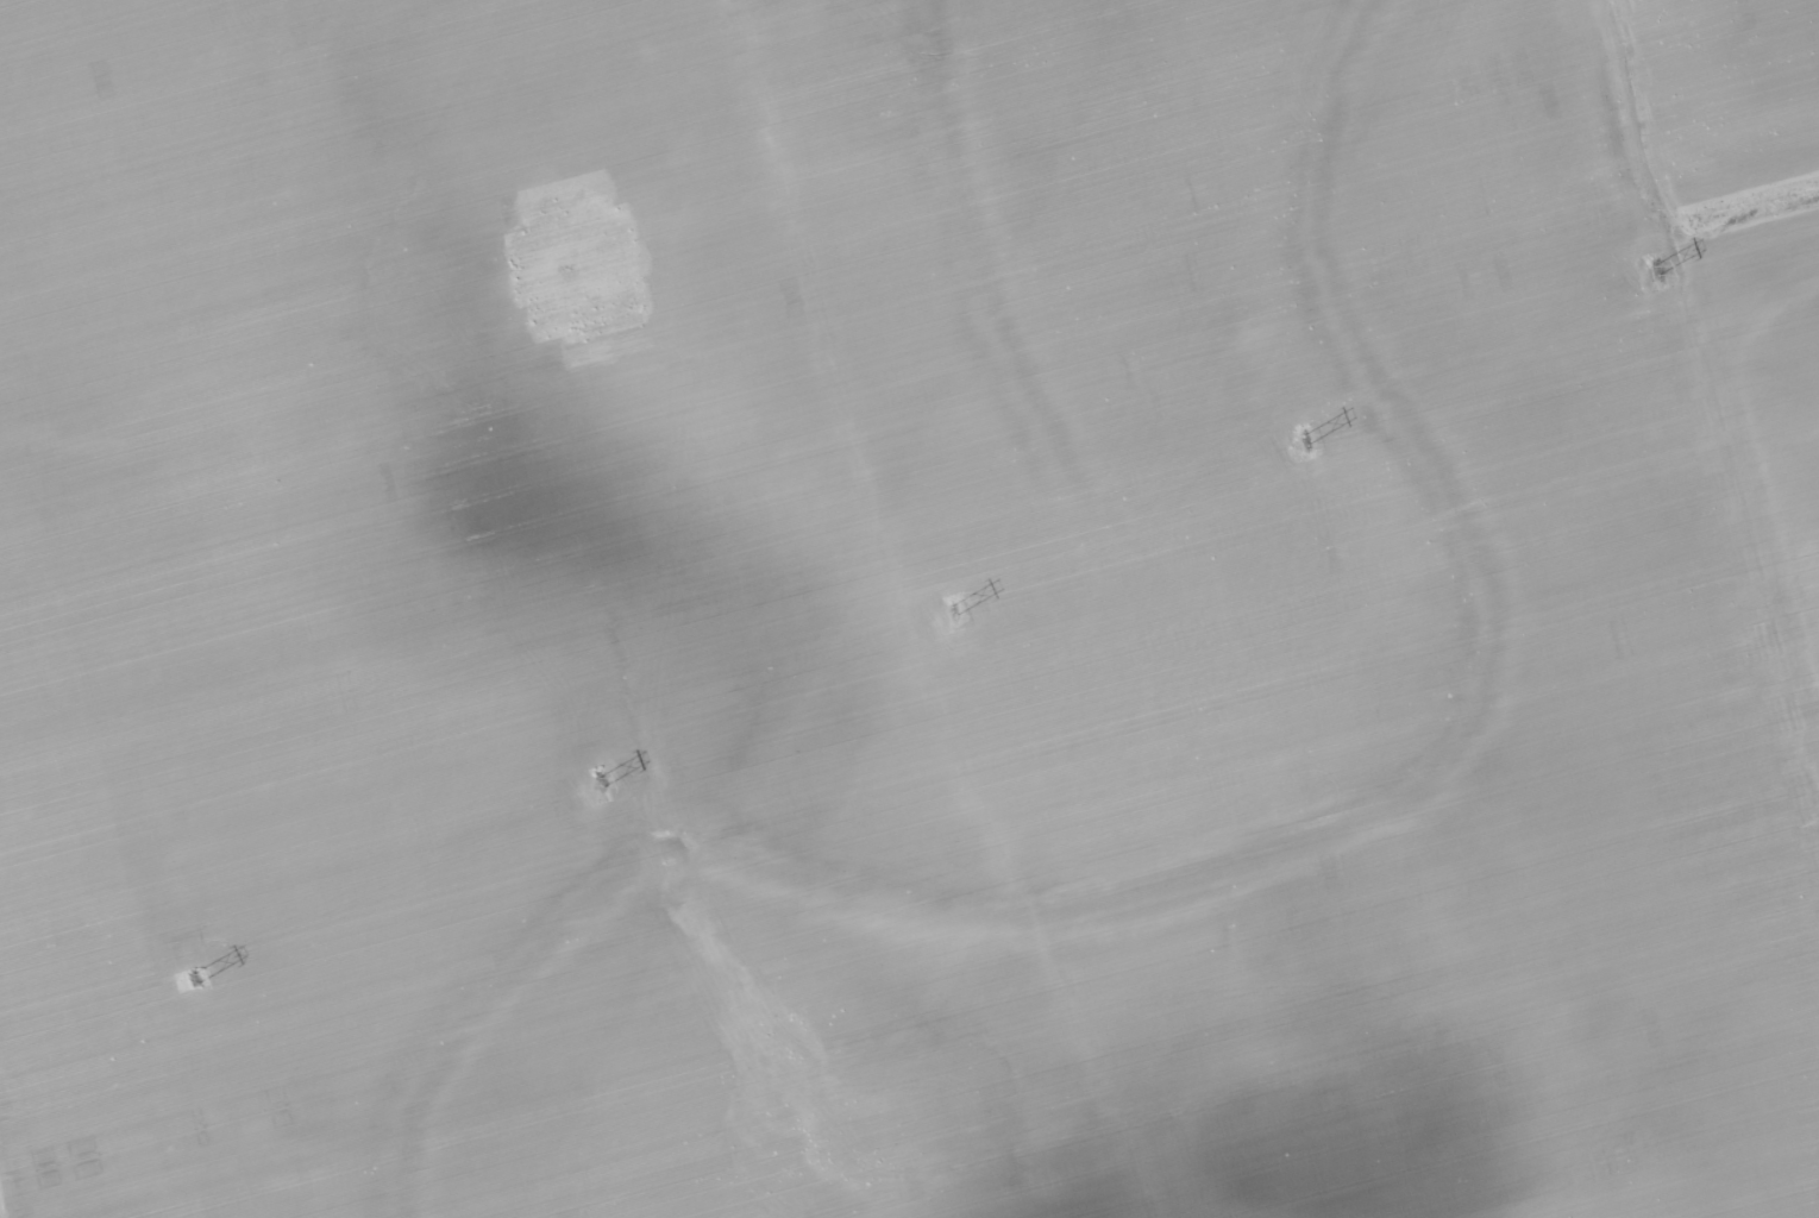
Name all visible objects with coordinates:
power tower: (1658, 268)
road: (1702, 413)
power tower: (1306, 440)
power tower: (955, 609)
power tower: (602, 778)
power tower: (200, 975)

